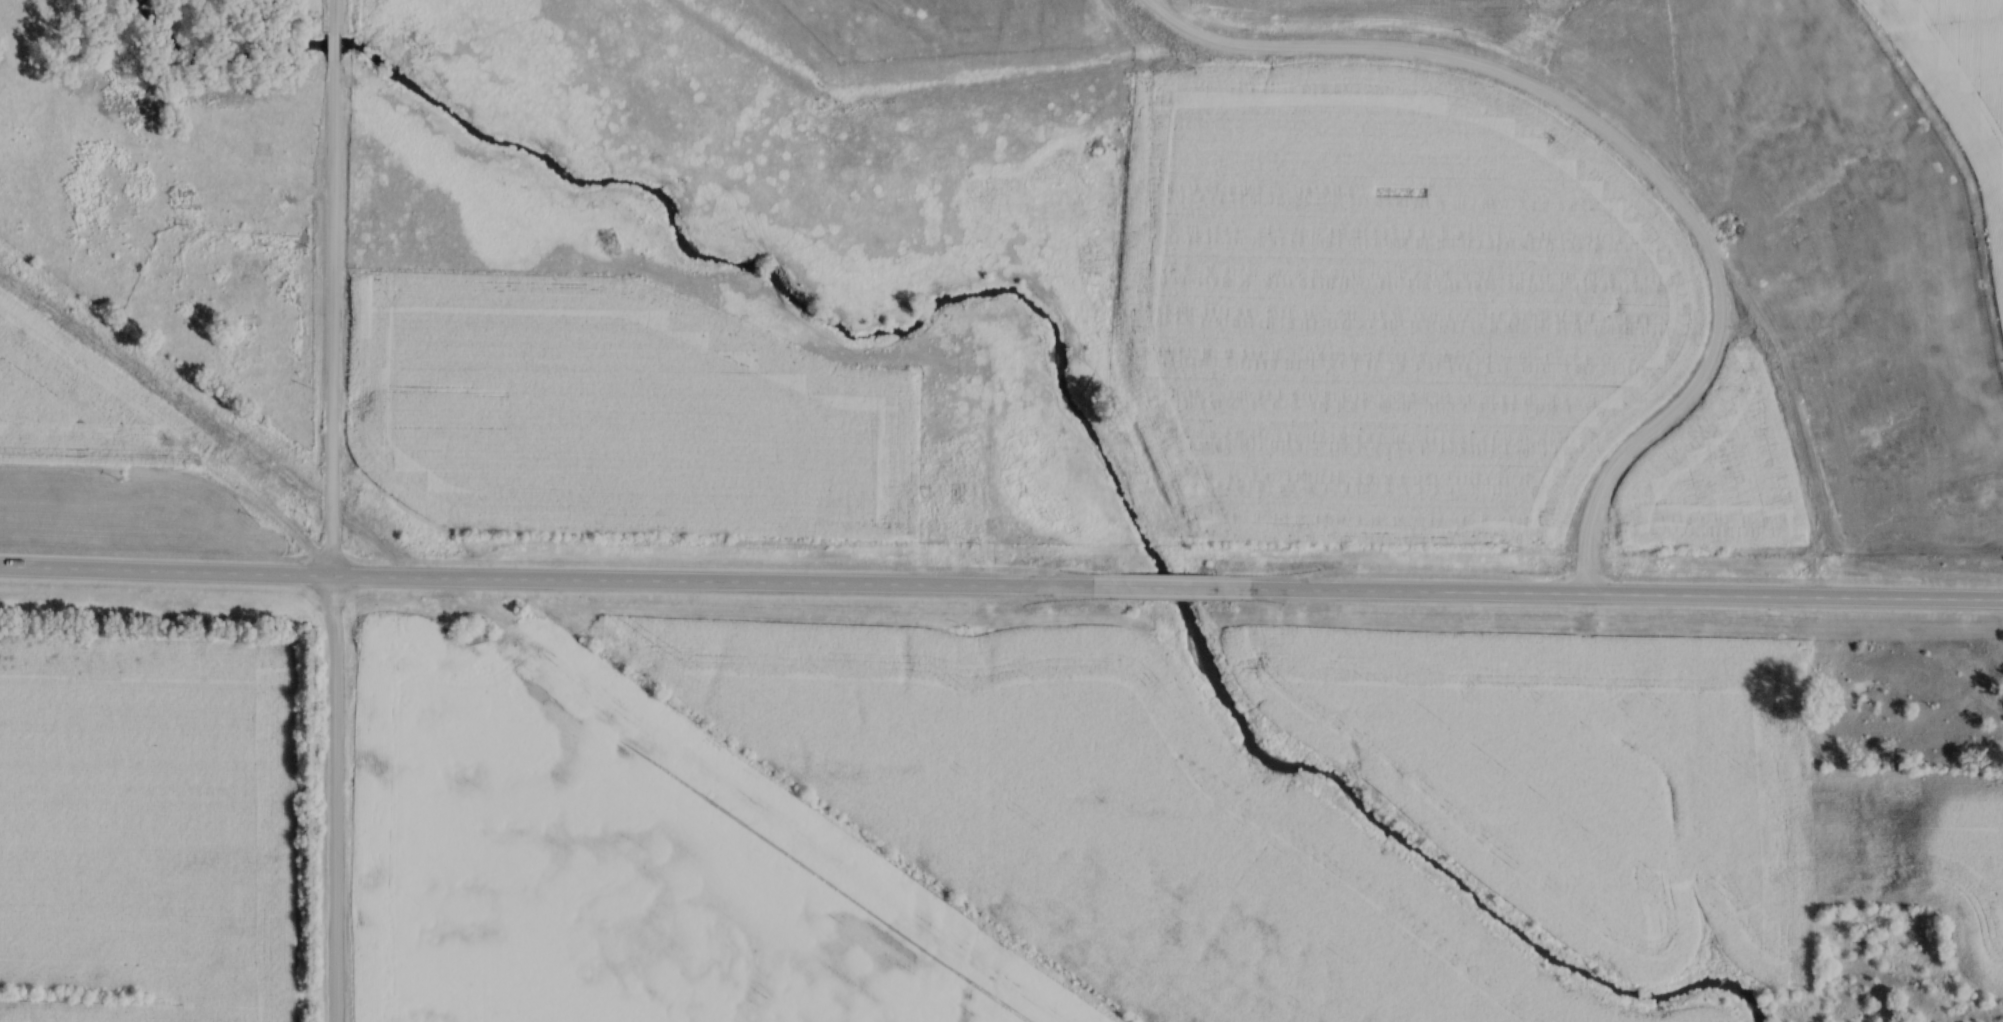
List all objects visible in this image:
road: (334, 16)
road: (334, 48)
river: (1040, 317)
road: (332, 542)
road: (562, 582)
road: (1163, 586)
road: (1601, 596)

